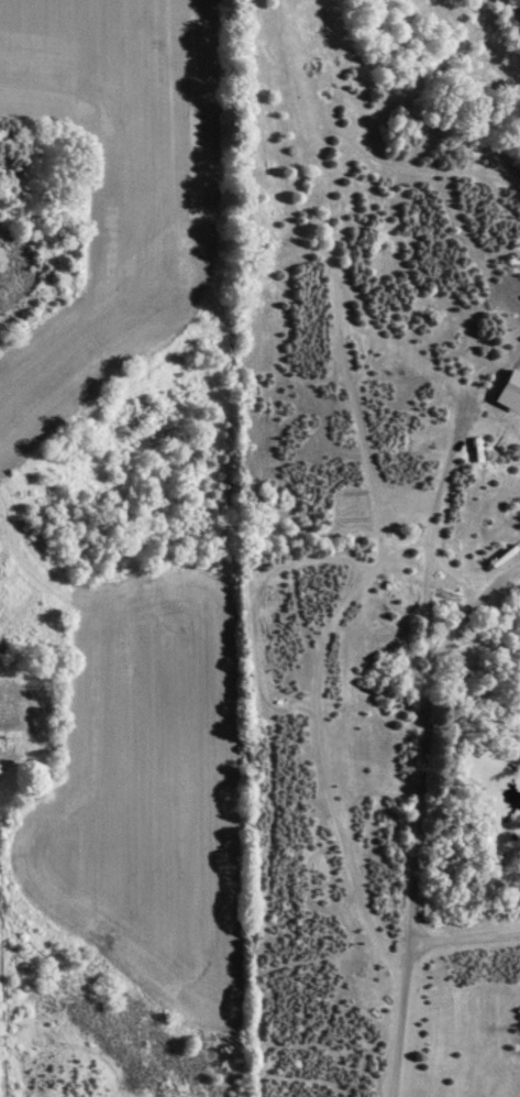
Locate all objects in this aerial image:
road: (421, 821)
road: (465, 940)
road: (1, 1063)

